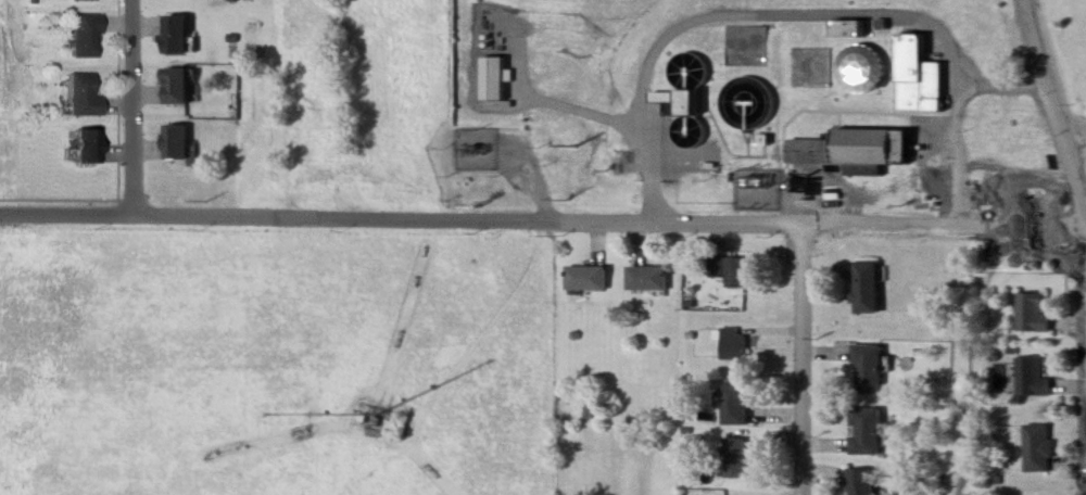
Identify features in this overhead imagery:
building: (76, 1)
road: (854, 23)
building: (173, 35)
building: (77, 37)
building: (860, 68)
building: (809, 69)
building: (914, 76)
building: (490, 79)
road: (1002, 85)
building: (173, 86)
building: (77, 96)
building: (685, 101)
road: (1052, 101)
building: (745, 103)
road: (134, 106)
road: (582, 111)
building: (177, 141)
building: (79, 144)
road: (522, 148)
building: (848, 148)
road: (652, 175)
road: (329, 217)
road: (872, 225)
building: (730, 270)
building: (583, 278)
building: (644, 279)
building: (862, 288)
building: (1030, 314)
road: (494, 321)
building: (731, 344)
road: (803, 359)
building: (863, 370)
building: (1028, 377)
building: (730, 405)
building: (862, 431)
building: (1035, 448)
building: (731, 458)
building: (857, 482)

